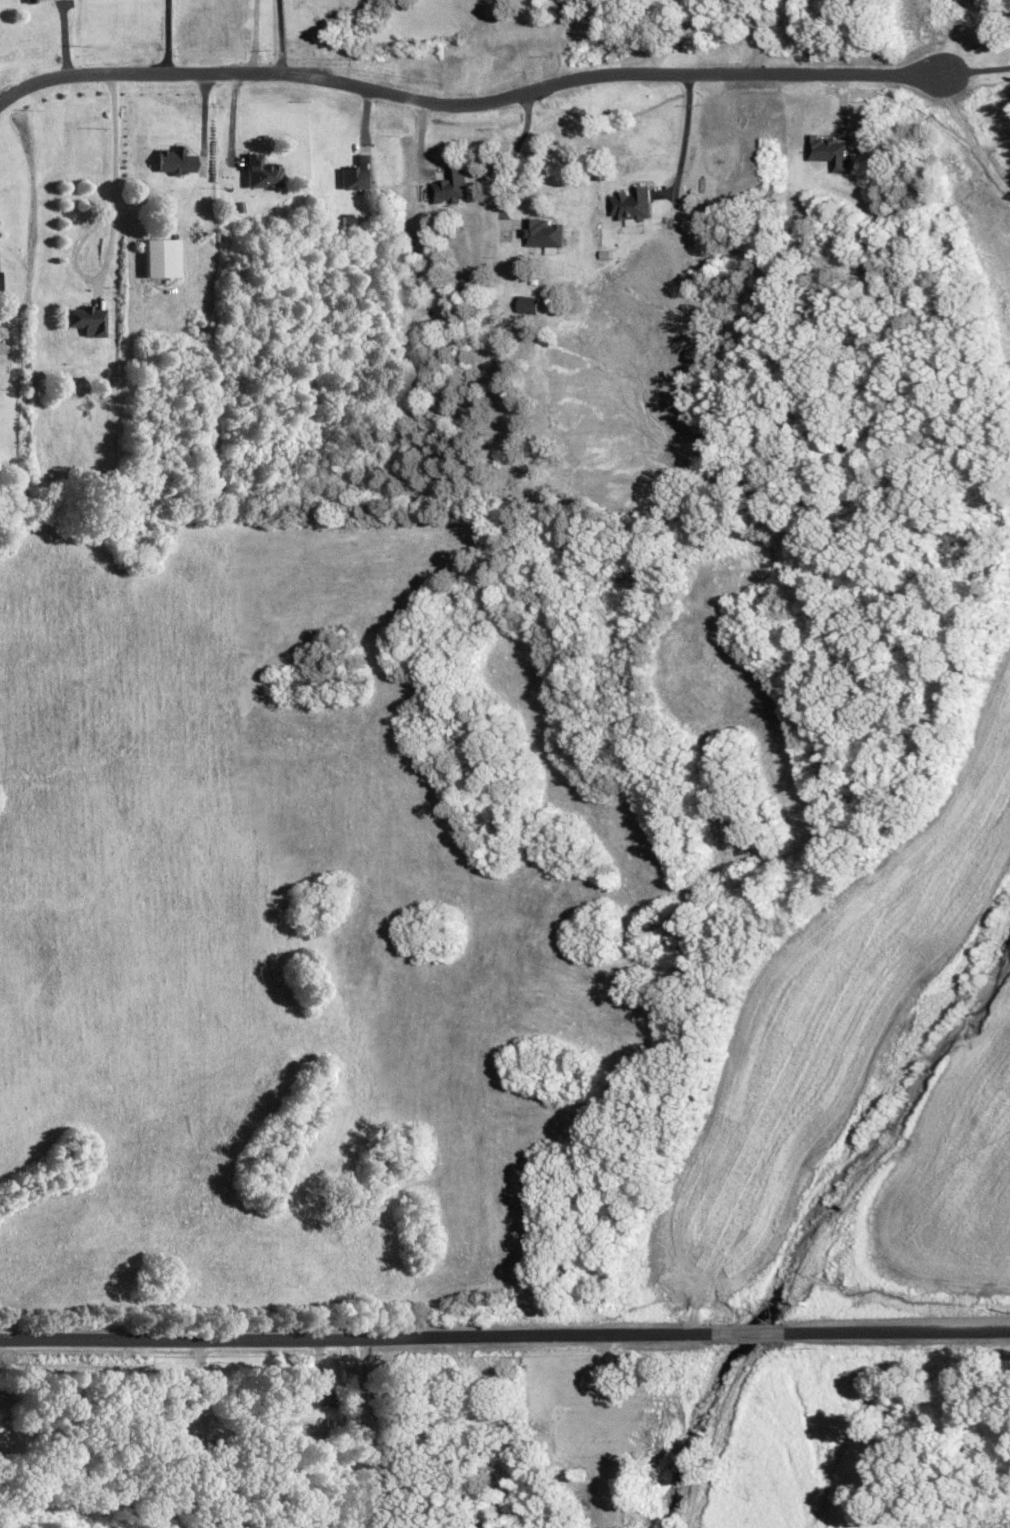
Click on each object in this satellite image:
building: (28, 0)
road: (164, 36)
road: (249, 36)
road: (278, 36)
road: (756, 36)
road: (977, 68)
road: (468, 100)
road: (680, 136)
road: (969, 137)
road: (513, 151)
building: (829, 151)
building: (174, 159)
road: (110, 163)
building: (261, 171)
building: (358, 173)
building: (452, 185)
building: (631, 204)
building: (544, 232)
building: (161, 256)
building: (528, 304)
building: (86, 319)
road: (906, 1331)
road: (768, 1334)
road: (366, 1336)
building: (314, 1397)
road: (372, 1432)

